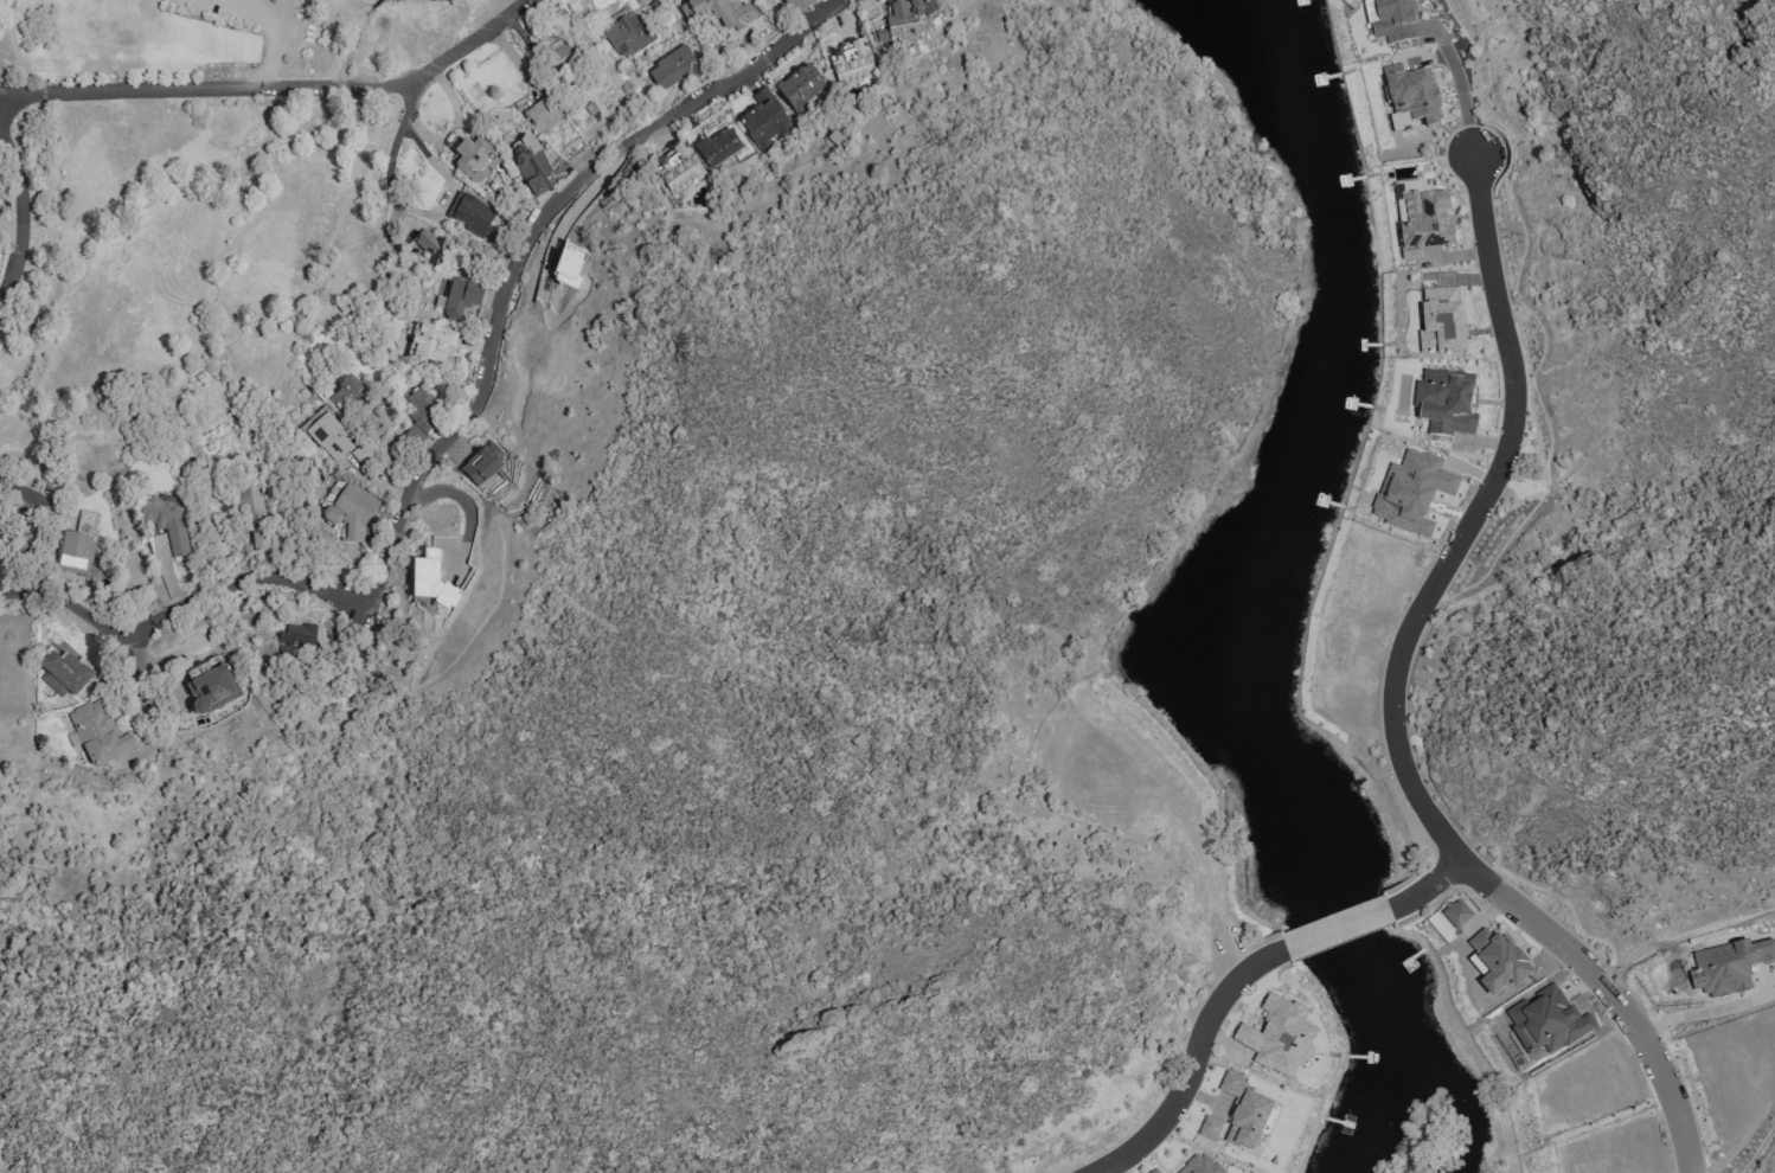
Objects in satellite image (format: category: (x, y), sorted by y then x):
building: (796, 5)
building: (646, 9)
building: (719, 13)
building: (1393, 21)
building: (905, 24)
building: (626, 34)
building: (851, 62)
building: (674, 69)
road: (281, 89)
building: (801, 89)
building: (1411, 98)
road: (1462, 100)
building: (542, 114)
building: (764, 121)
building: (719, 147)
building: (475, 161)
building: (531, 165)
building: (679, 171)
road: (443, 204)
building: (470, 213)
road: (20, 219)
building: (1421, 220)
building: (431, 246)
building: (461, 299)
building: (1444, 319)
building: (434, 344)
building: (350, 395)
road: (174, 398)
building: (1444, 403)
building: (421, 411)
road: (462, 417)
building: (328, 435)
building: (481, 467)
road: (26, 499)
building: (250, 500)
building: (352, 509)
building: (429, 581)
road: (1424, 601)
building: (294, 639)
building: (65, 674)
building: (210, 691)
building: (97, 733)
road: (1427, 890)
road: (1337, 931)
road: (1699, 1015)
building: (1277, 1037)
road: (1191, 1065)
road: (1655, 1068)
building: (1243, 1114)
building: (1210, 1129)
building: (1199, 1165)
road: (1691, 1169)
building: (1154, 1171)

